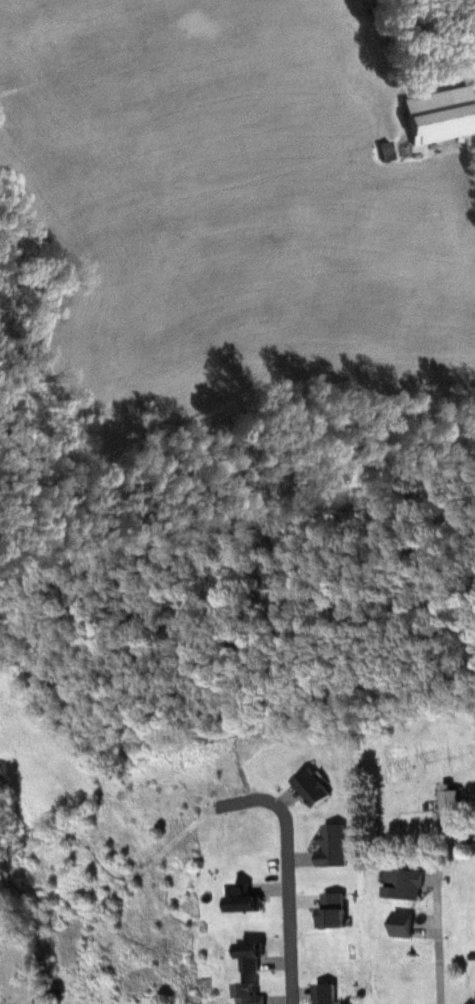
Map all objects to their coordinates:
building: (441, 114)
building: (311, 787)
building: (453, 816)
building: (402, 884)
building: (324, 992)
building: (249, 993)

